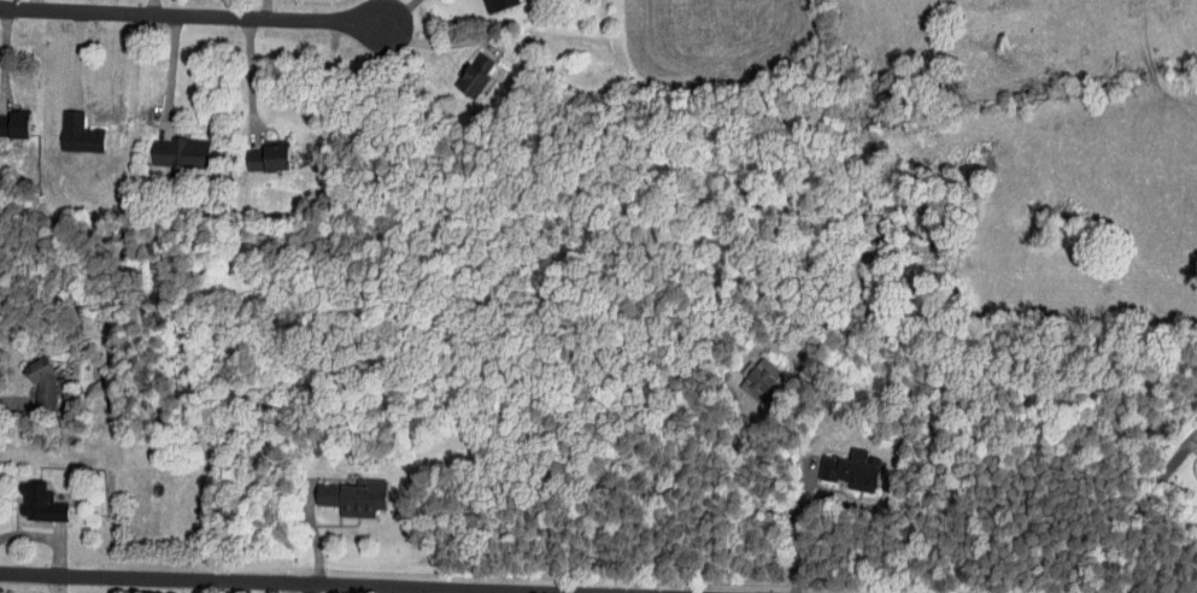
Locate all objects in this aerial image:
building: (495, 4)
road: (31, 7)
road: (152, 8)
road: (269, 11)
road: (381, 11)
road: (399, 11)
road: (190, 18)
road: (440, 45)
road: (8, 48)
road: (76, 53)
road: (170, 69)
building: (473, 74)
road: (252, 78)
building: (14, 124)
building: (77, 133)
building: (180, 152)
building: (268, 158)
building: (758, 377)
road: (19, 381)
building: (45, 386)
building: (849, 469)
building: (350, 498)
building: (36, 503)
road: (800, 528)
road: (1123, 554)
road: (49, 558)
road: (311, 558)
road: (306, 583)
road: (415, 591)
road: (577, 592)

